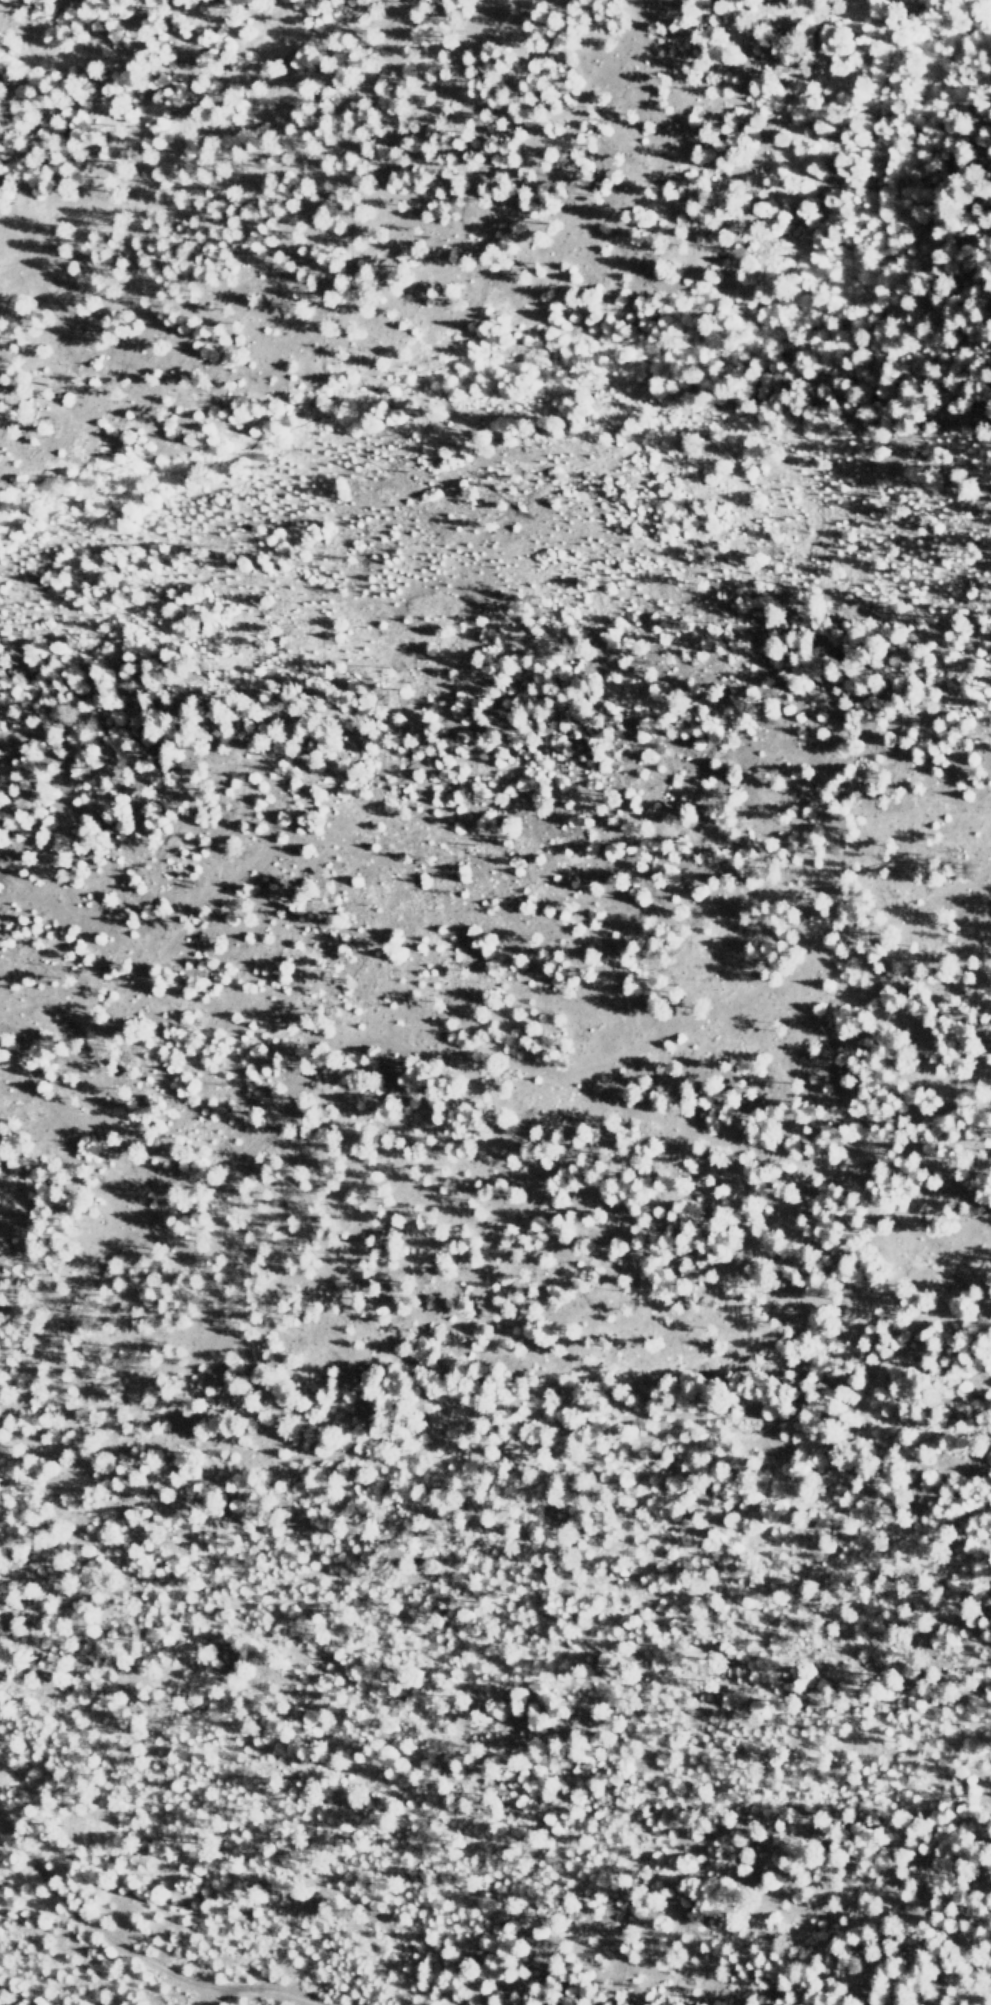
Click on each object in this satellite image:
road: (143, 1962)

